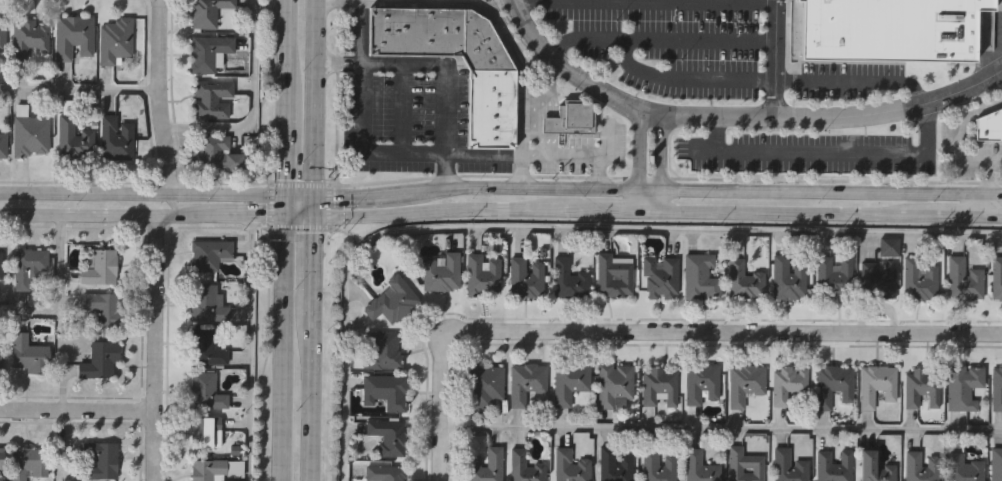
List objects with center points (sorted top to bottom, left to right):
road: (643, 4)
building: (207, 12)
building: (890, 28)
building: (415, 30)
road: (500, 31)
building: (2, 32)
building: (73, 36)
building: (29, 37)
building: (114, 39)
road: (657, 40)
road: (287, 42)
building: (482, 44)
parking lot: (665, 46)
building: (208, 52)
road: (774, 57)
road: (443, 61)
road: (1000, 75)
road: (684, 78)
road: (853, 80)
road: (76, 89)
road: (961, 89)
road: (336, 93)
road: (152, 97)
building: (213, 97)
road: (395, 107)
road: (248, 108)
road: (542, 108)
building: (492, 109)
road: (691, 116)
road: (962, 116)
building: (571, 119)
building: (988, 126)
building: (31, 134)
building: (72, 137)
building: (115, 137)
road: (286, 138)
building: (3, 144)
building: (218, 153)
road: (420, 153)
road: (796, 154)
road: (934, 159)
road: (651, 162)
road: (300, 183)
road: (643, 183)
road: (983, 186)
road: (142, 192)
traffic signals: (286, 193)
traffic signals: (317, 193)
road: (174, 204)
road: (271, 204)
road: (286, 205)
road: (329, 206)
road: (643, 208)
road: (143, 215)
traffic signals: (286, 217)
traffic signals: (316, 217)
road: (135, 226)
road: (299, 227)
road: (558, 232)
road: (315, 240)
building: (889, 247)
building: (208, 253)
building: (0, 263)
building: (28, 265)
building: (101, 267)
building: (438, 270)
building: (481, 272)
building: (613, 274)
building: (832, 274)
building: (659, 275)
building: (698, 275)
building: (996, 275)
building: (524, 276)
building: (785, 276)
building: (877, 276)
building: (917, 277)
building: (567, 278)
building: (742, 278)
building: (962, 279)
road: (58, 291)
building: (390, 299)
building: (204, 301)
building: (102, 304)
road: (727, 331)
building: (206, 347)
road: (156, 348)
building: (379, 348)
road: (284, 349)
building: (30, 354)
building: (0, 358)
building: (100, 358)
road: (241, 363)
building: (524, 380)
building: (568, 380)
building: (699, 381)
building: (744, 381)
building: (786, 381)
building: (612, 382)
building: (831, 383)
building: (874, 383)
building: (483, 384)
building: (658, 384)
building: (919, 385)
building: (961, 385)
building: (996, 386)
building: (383, 389)
building: (205, 390)
road: (444, 404)
road: (77, 409)
road: (723, 427)
building: (208, 431)
building: (385, 434)
building: (3, 457)
building: (100, 460)
building: (27, 461)
building: (995, 463)
building: (484, 464)
building: (612, 464)
building: (743, 464)
building: (569, 465)
building: (657, 465)
building: (787, 465)
building: (832, 465)
building: (919, 465)
building: (523, 466)
building: (698, 466)
building: (872, 467)
building: (961, 467)
building: (205, 470)
building: (383, 472)

